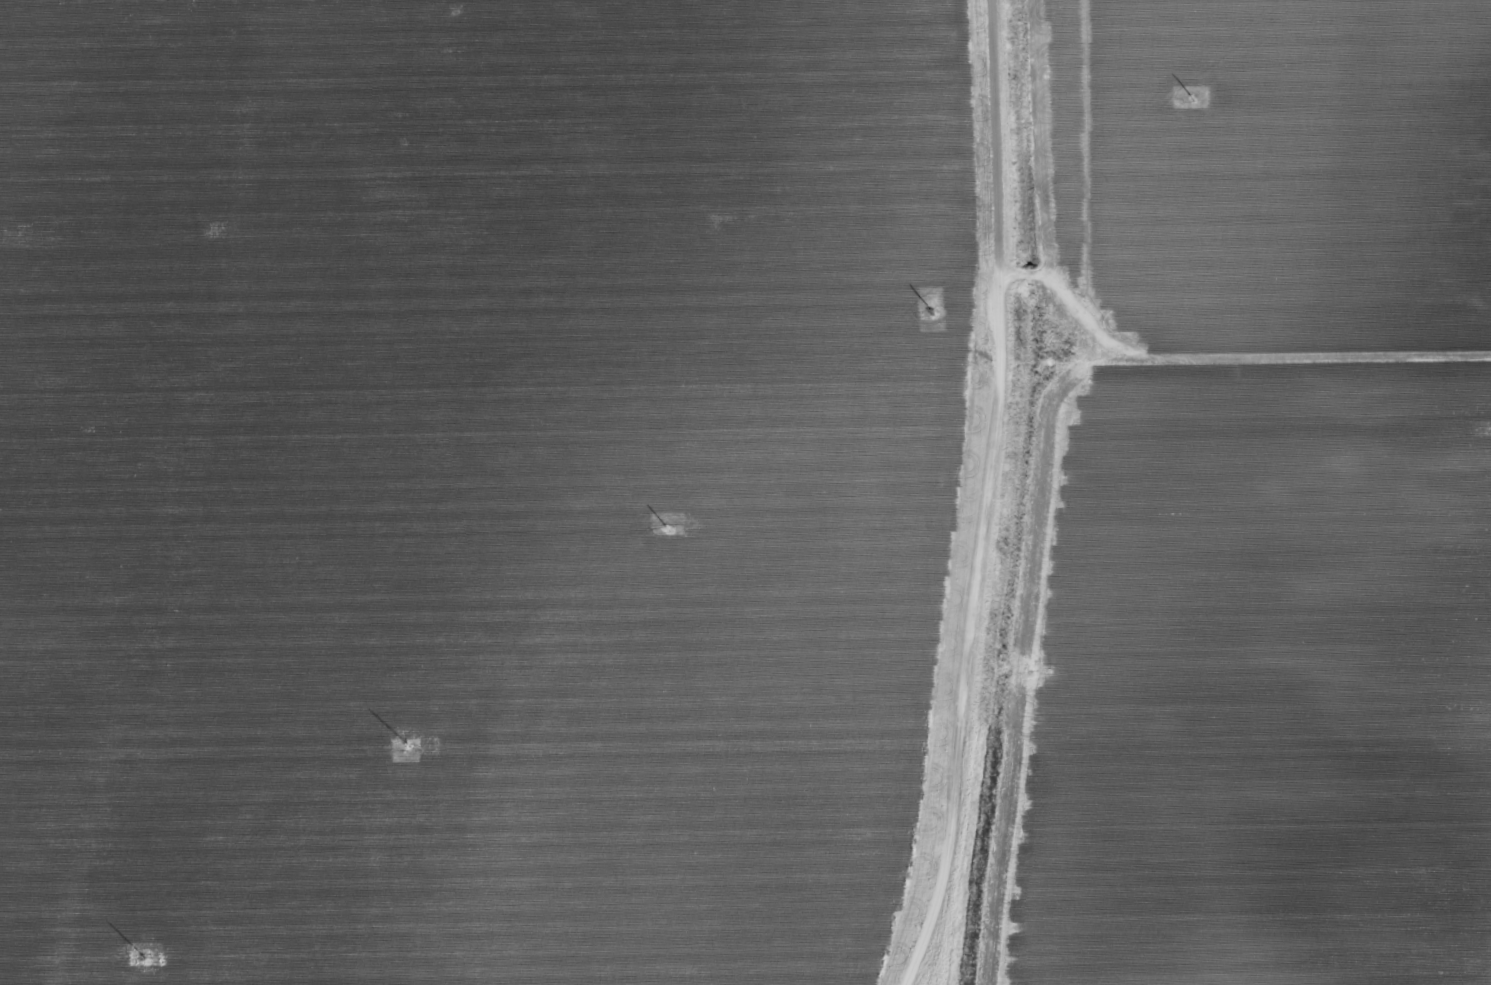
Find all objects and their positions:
power tower: (1196, 100)
power tower: (936, 311)
power tower: (670, 530)
power tower: (409, 744)
power tower: (145, 960)

